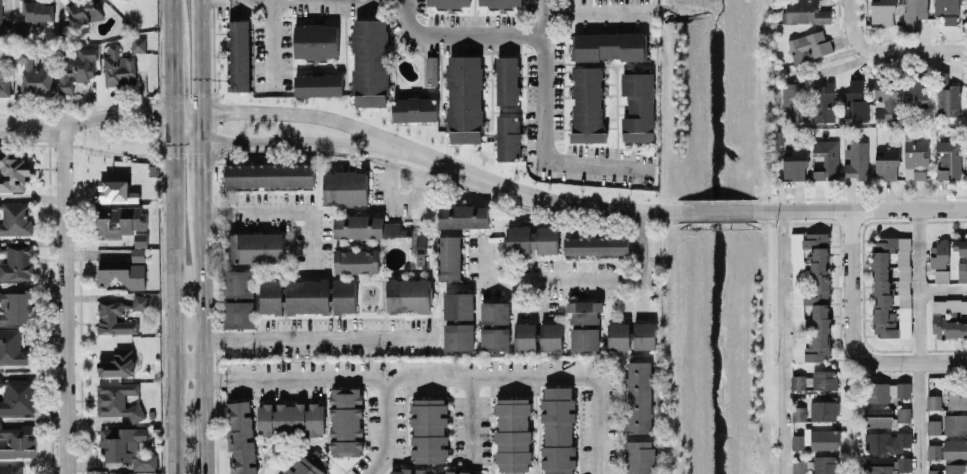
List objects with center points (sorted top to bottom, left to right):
building: (448, 3)
building: (499, 3)
building: (38, 10)
building: (947, 10)
building: (0, 12)
building: (804, 12)
building: (882, 12)
building: (914, 12)
road: (596, 14)
road: (169, 15)
road: (462, 34)
building: (315, 40)
road: (274, 43)
building: (138, 44)
building: (809, 45)
building: (609, 46)
road: (158, 49)
road: (888, 52)
building: (238, 54)
building: (370, 62)
building: (75, 67)
building: (118, 67)
building: (431, 70)
road: (170, 71)
road: (201, 71)
road: (798, 74)
building: (4, 75)
building: (38, 78)
building: (507, 79)
road: (544, 79)
building: (318, 84)
building: (914, 92)
building: (947, 95)
building: (886, 97)
building: (464, 98)
building: (794, 99)
building: (824, 101)
building: (855, 101)
building: (587, 103)
building: (638, 106)
building: (414, 108)
road: (159, 110)
traffic signals: (170, 112)
traffic signals: (201, 112)
road: (114, 114)
road: (285, 114)
road: (30, 125)
building: (508, 137)
road: (159, 139)
traffic signals: (202, 143)
road: (275, 143)
road: (131, 154)
building: (827, 159)
building: (856, 159)
building: (916, 159)
building: (948, 159)
building: (887, 163)
road: (597, 164)
building: (795, 164)
road: (202, 171)
building: (13, 172)
building: (269, 174)
building: (345, 187)
building: (114, 191)
road: (531, 197)
road: (398, 199)
road: (860, 207)
road: (203, 210)
road: (284, 210)
road: (716, 210)
building: (463, 216)
building: (15, 218)
building: (119, 220)
building: (367, 226)
building: (140, 239)
building: (531, 239)
building: (595, 245)
building: (960, 245)
building: (256, 246)
building: (138, 253)
building: (939, 253)
building: (449, 257)
building: (356, 260)
building: (18, 262)
building: (962, 271)
building: (120, 272)
building: (941, 275)
road: (573, 278)
building: (238, 282)
road: (919, 284)
building: (891, 286)
road: (943, 289)
road: (172, 292)
building: (408, 294)
building: (271, 295)
building: (308, 295)
building: (344, 295)
building: (810, 296)
road: (637, 298)
road: (65, 299)
road: (536, 300)
building: (137, 302)
building: (458, 305)
building: (15, 306)
building: (584, 310)
building: (494, 312)
road: (852, 312)
building: (239, 314)
building: (949, 317)
building: (114, 318)
building: (550, 335)
building: (618, 335)
building: (644, 335)
building: (458, 336)
building: (525, 336)
building: (494, 338)
building: (584, 338)
road: (321, 339)
road: (781, 341)
building: (12, 347)
road: (204, 348)
road: (188, 360)
road: (944, 361)
building: (118, 363)
road: (412, 375)
road: (214, 377)
building: (824, 379)
building: (798, 381)
building: (886, 390)
building: (16, 395)
building: (639, 396)
building: (957, 398)
building: (117, 399)
building: (933, 401)
building: (824, 409)
building: (798, 413)
building: (903, 413)
building: (877, 416)
road: (919, 417)
building: (291, 418)
road: (468, 419)
building: (346, 421)
building: (955, 423)
road: (598, 424)
building: (933, 426)
road: (385, 427)
building: (429, 429)
building: (558, 430)
building: (512, 435)
building: (241, 437)
building: (816, 439)
building: (17, 441)
building: (888, 441)
building: (127, 446)
building: (955, 448)
building: (934, 450)
building: (640, 457)
building: (308, 464)
building: (825, 464)
building: (885, 464)
building: (799, 467)
building: (955, 468)
building: (10, 469)
building: (431, 471)

